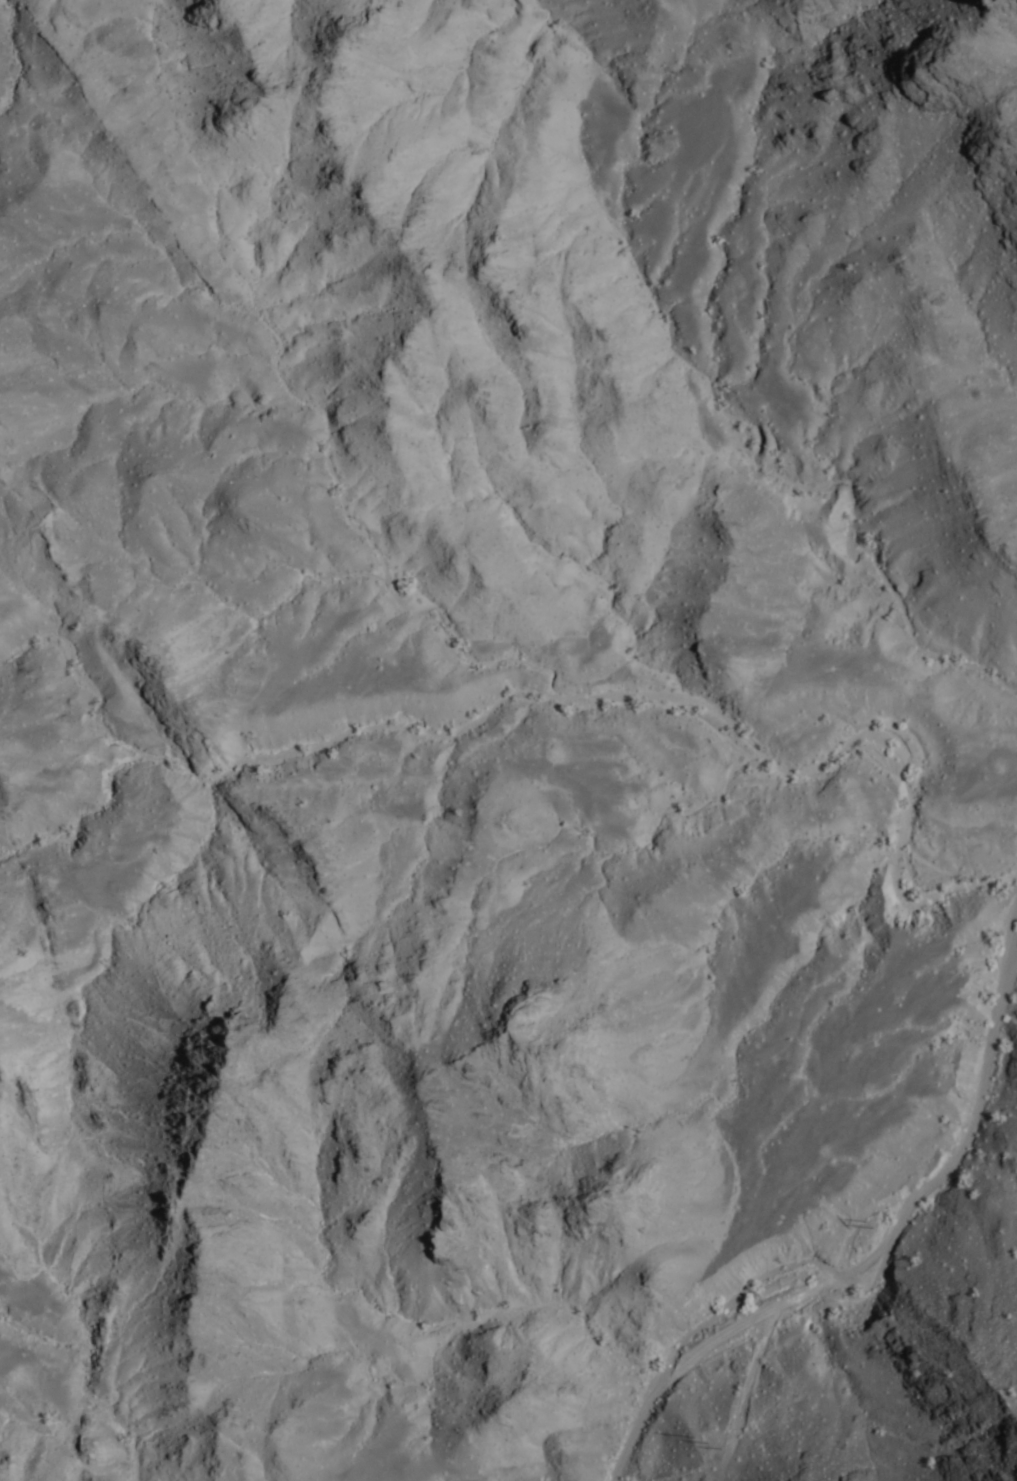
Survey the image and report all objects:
power tower: (867, 1224)
power tower: (709, 1445)

